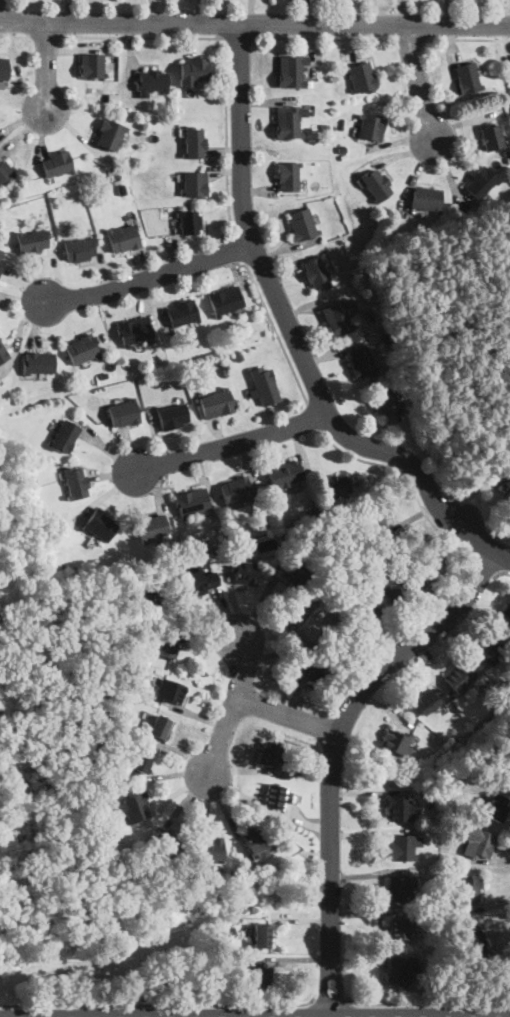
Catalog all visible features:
road: (254, 21)
road: (14, 35)
road: (46, 36)
road: (324, 37)
road: (239, 38)
road: (409, 38)
road: (469, 39)
road: (226, 55)
building: (92, 64)
building: (3, 67)
road: (45, 68)
building: (292, 70)
building: (194, 71)
building: (361, 76)
building: (468, 76)
building: (153, 81)
road: (418, 84)
building: (288, 121)
building: (371, 125)
building: (111, 134)
building: (492, 135)
building: (195, 141)
building: (59, 162)
building: (6, 172)
building: (289, 174)
building: (480, 181)
building: (195, 183)
building: (376, 183)
building: (426, 197)
building: (189, 221)
building: (302, 223)
building: (123, 237)
building: (31, 240)
road: (240, 246)
building: (78, 248)
building: (2, 254)
building: (316, 271)
road: (147, 276)
building: (225, 299)
building: (182, 313)
building: (341, 315)
road: (276, 330)
building: (136, 331)
road: (294, 336)
building: (83, 348)
building: (4, 352)
building: (361, 360)
building: (38, 361)
building: (265, 384)
building: (218, 402)
building: (386, 402)
building: (124, 412)
building: (172, 415)
road: (313, 415)
building: (66, 435)
road: (227, 444)
building: (285, 472)
road: (410, 481)
building: (507, 482)
building: (76, 483)
building: (336, 483)
building: (236, 490)
building: (193, 502)
building: (377, 520)
building: (101, 523)
building: (152, 527)
road: (487, 564)
building: (245, 568)
building: (294, 571)
road: (502, 571)
building: (198, 581)
building: (389, 585)
building: (141, 592)
building: (506, 614)
building: (366, 615)
road: (197, 619)
building: (304, 624)
building: (167, 645)
building: (491, 648)
building: (317, 667)
building: (460, 676)
building: (171, 689)
building: (426, 700)
road: (233, 708)
road: (287, 716)
building: (161, 726)
building: (395, 739)
road: (334, 754)
building: (270, 755)
building: (138, 763)
building: (505, 771)
building: (277, 796)
building: (496, 805)
building: (134, 806)
building: (401, 806)
building: (166, 840)
building: (255, 841)
building: (478, 842)
building: (404, 845)
building: (210, 848)
building: (398, 885)
building: (470, 886)
building: (399, 927)
building: (262, 934)
building: (474, 937)
building: (504, 963)
building: (401, 968)
building: (260, 972)
road: (331, 1002)
road: (427, 1002)
road: (158, 1004)

